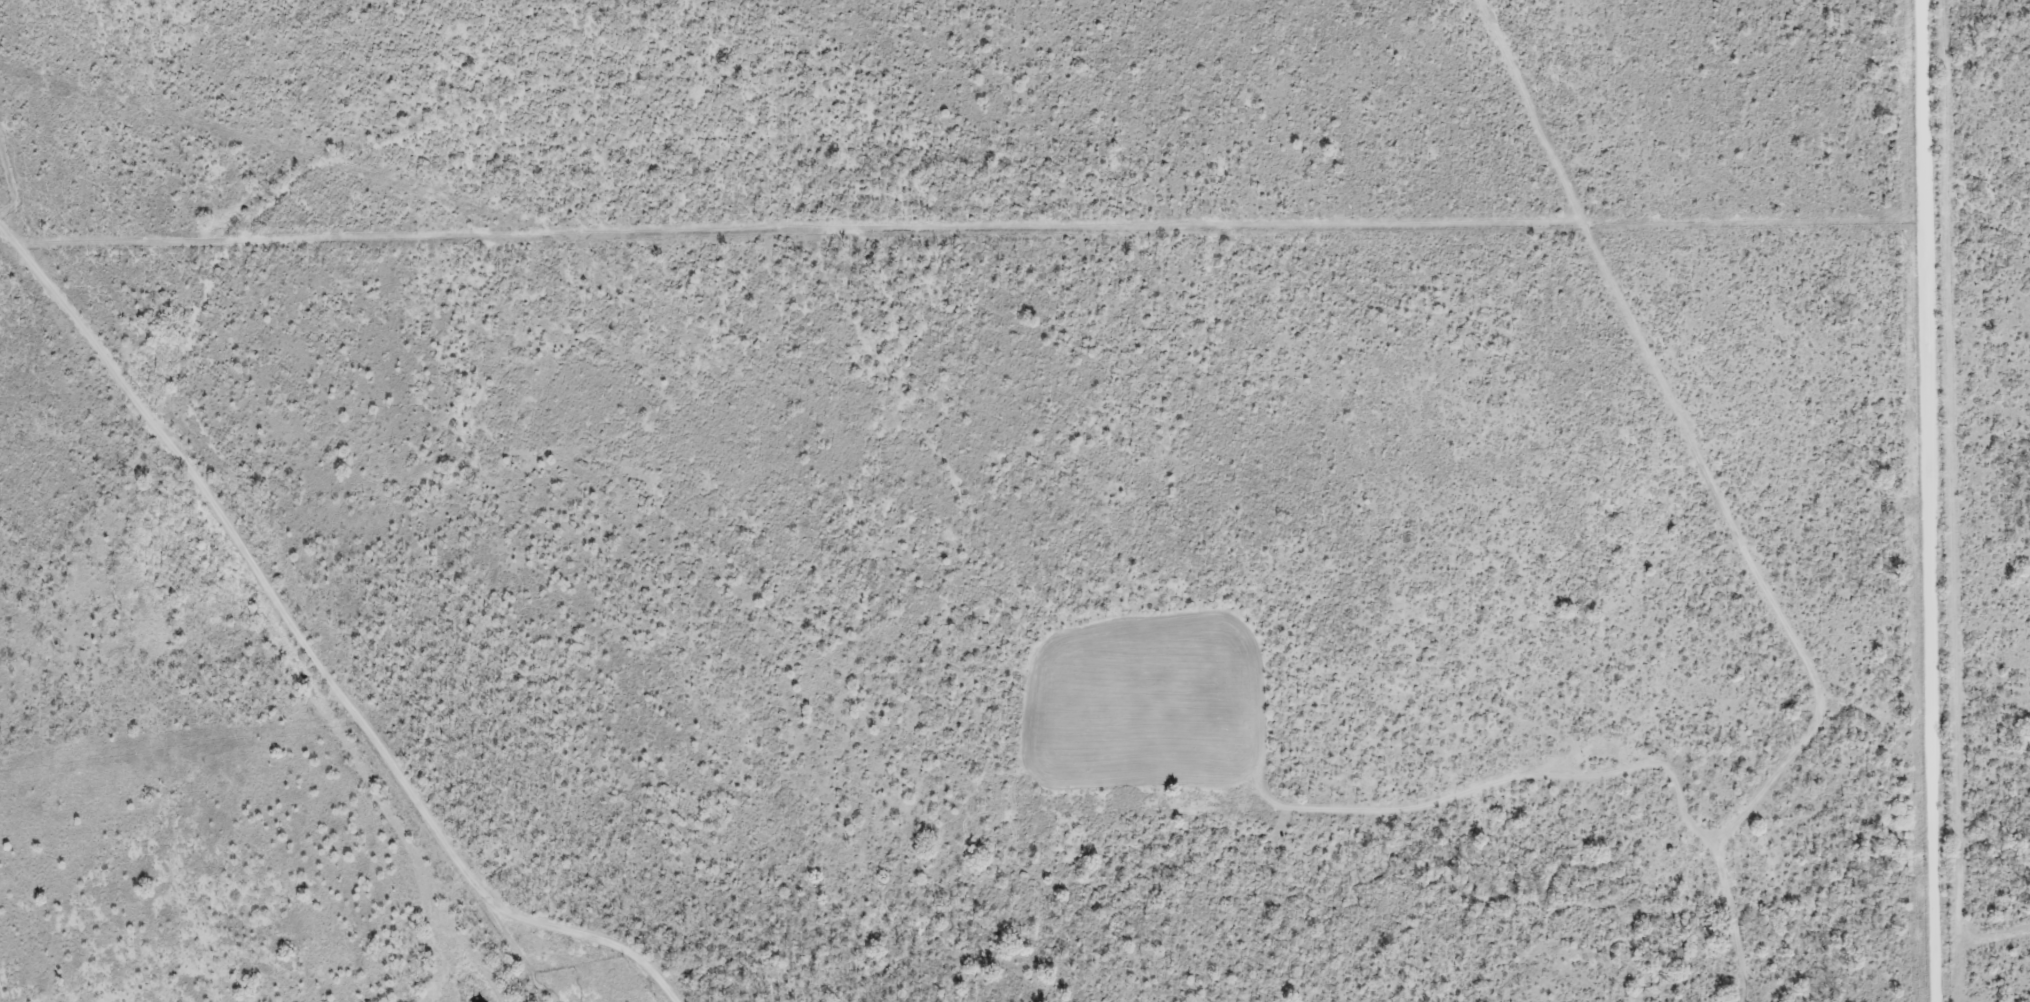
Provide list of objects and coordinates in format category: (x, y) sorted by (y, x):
road: (1931, 500)

